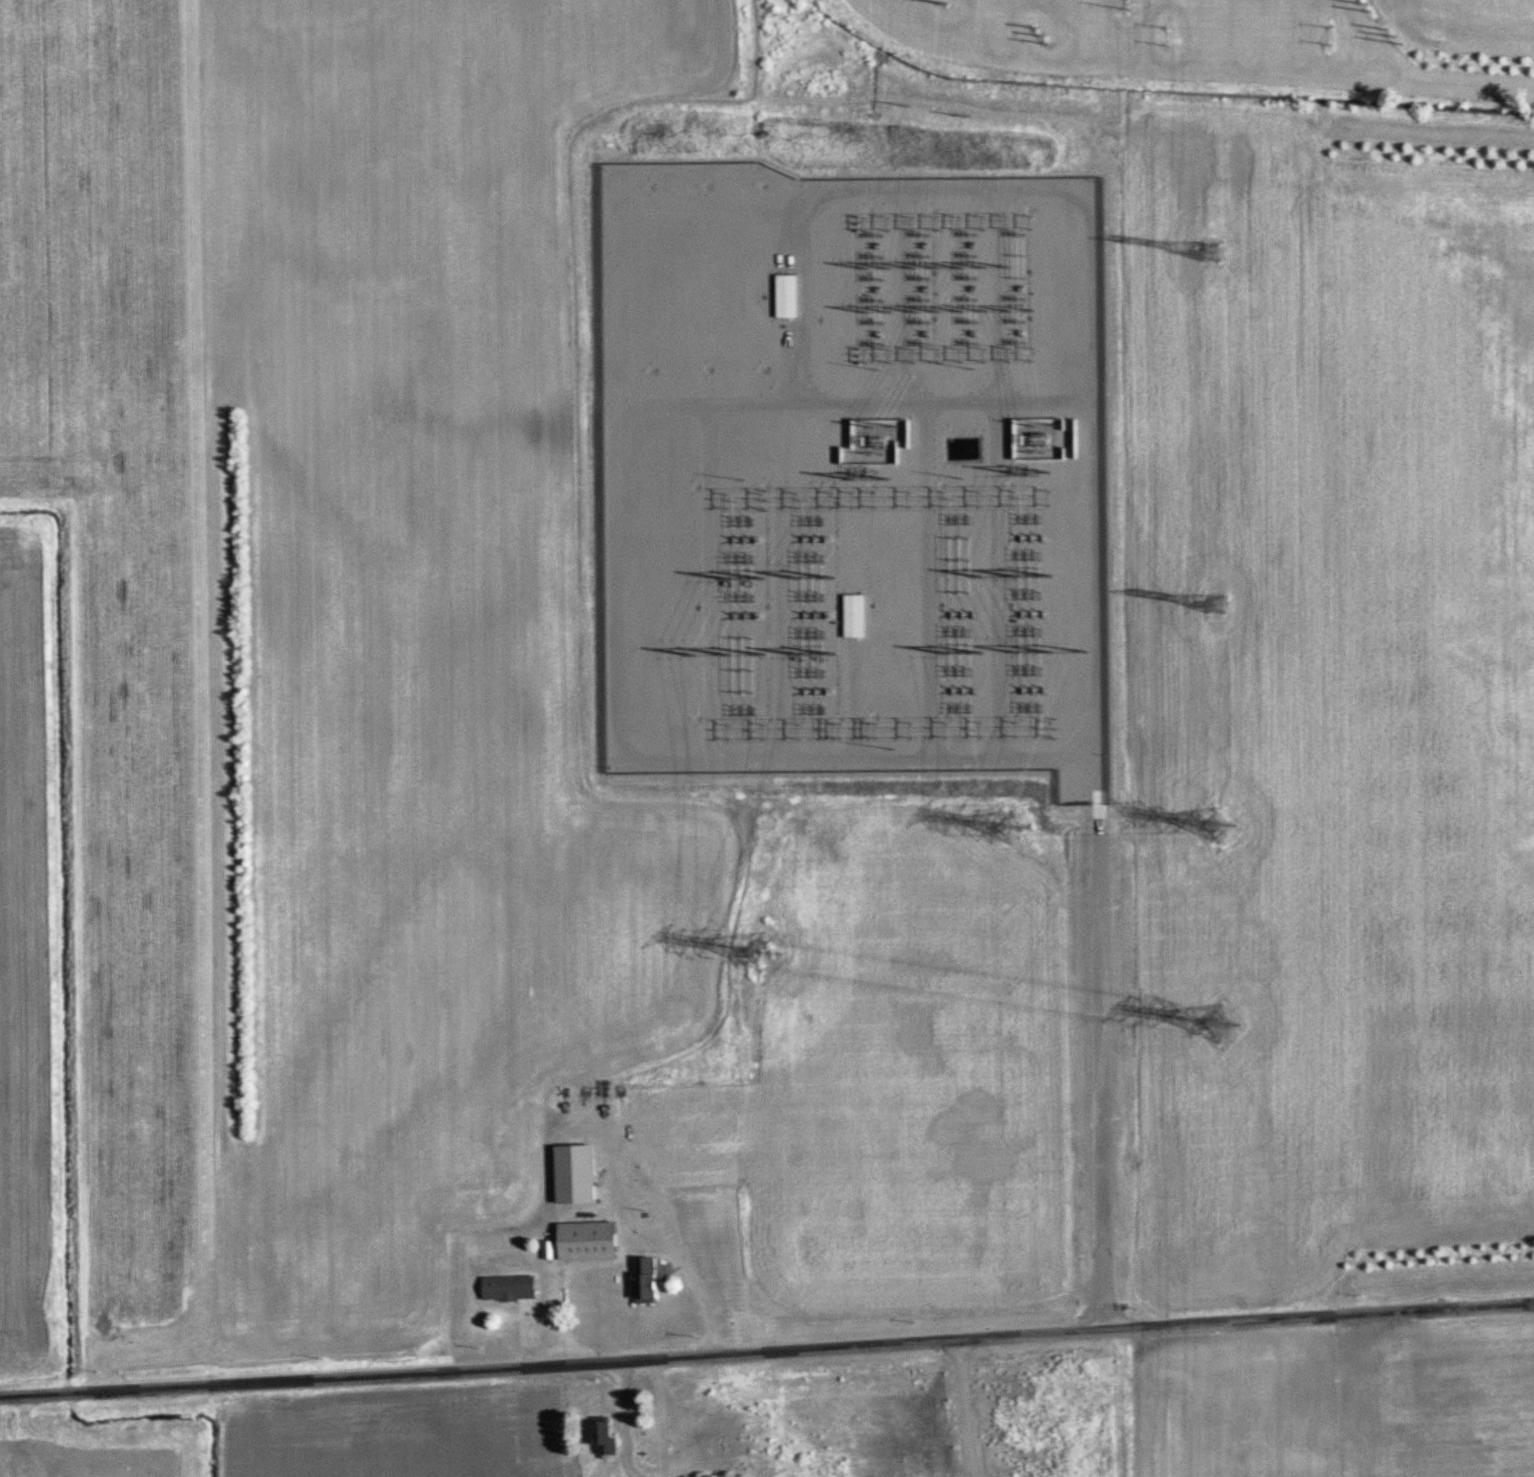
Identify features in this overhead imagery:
power tower: (1213, 252)
building: (787, 294)
power substation: (855, 473)
power tower: (1213, 600)
building: (855, 615)
power tower: (1017, 818)
power tower: (1216, 820)
power tower: (767, 954)
power tower: (1222, 1025)
road: (1100, 1028)
building: (683, 1103)
building: (583, 1174)
road: (659, 1219)
building: (594, 1240)
building: (650, 1278)
building: (513, 1286)
road: (1101, 1292)
road: (767, 1349)
road: (963, 1407)
building: (609, 1436)

